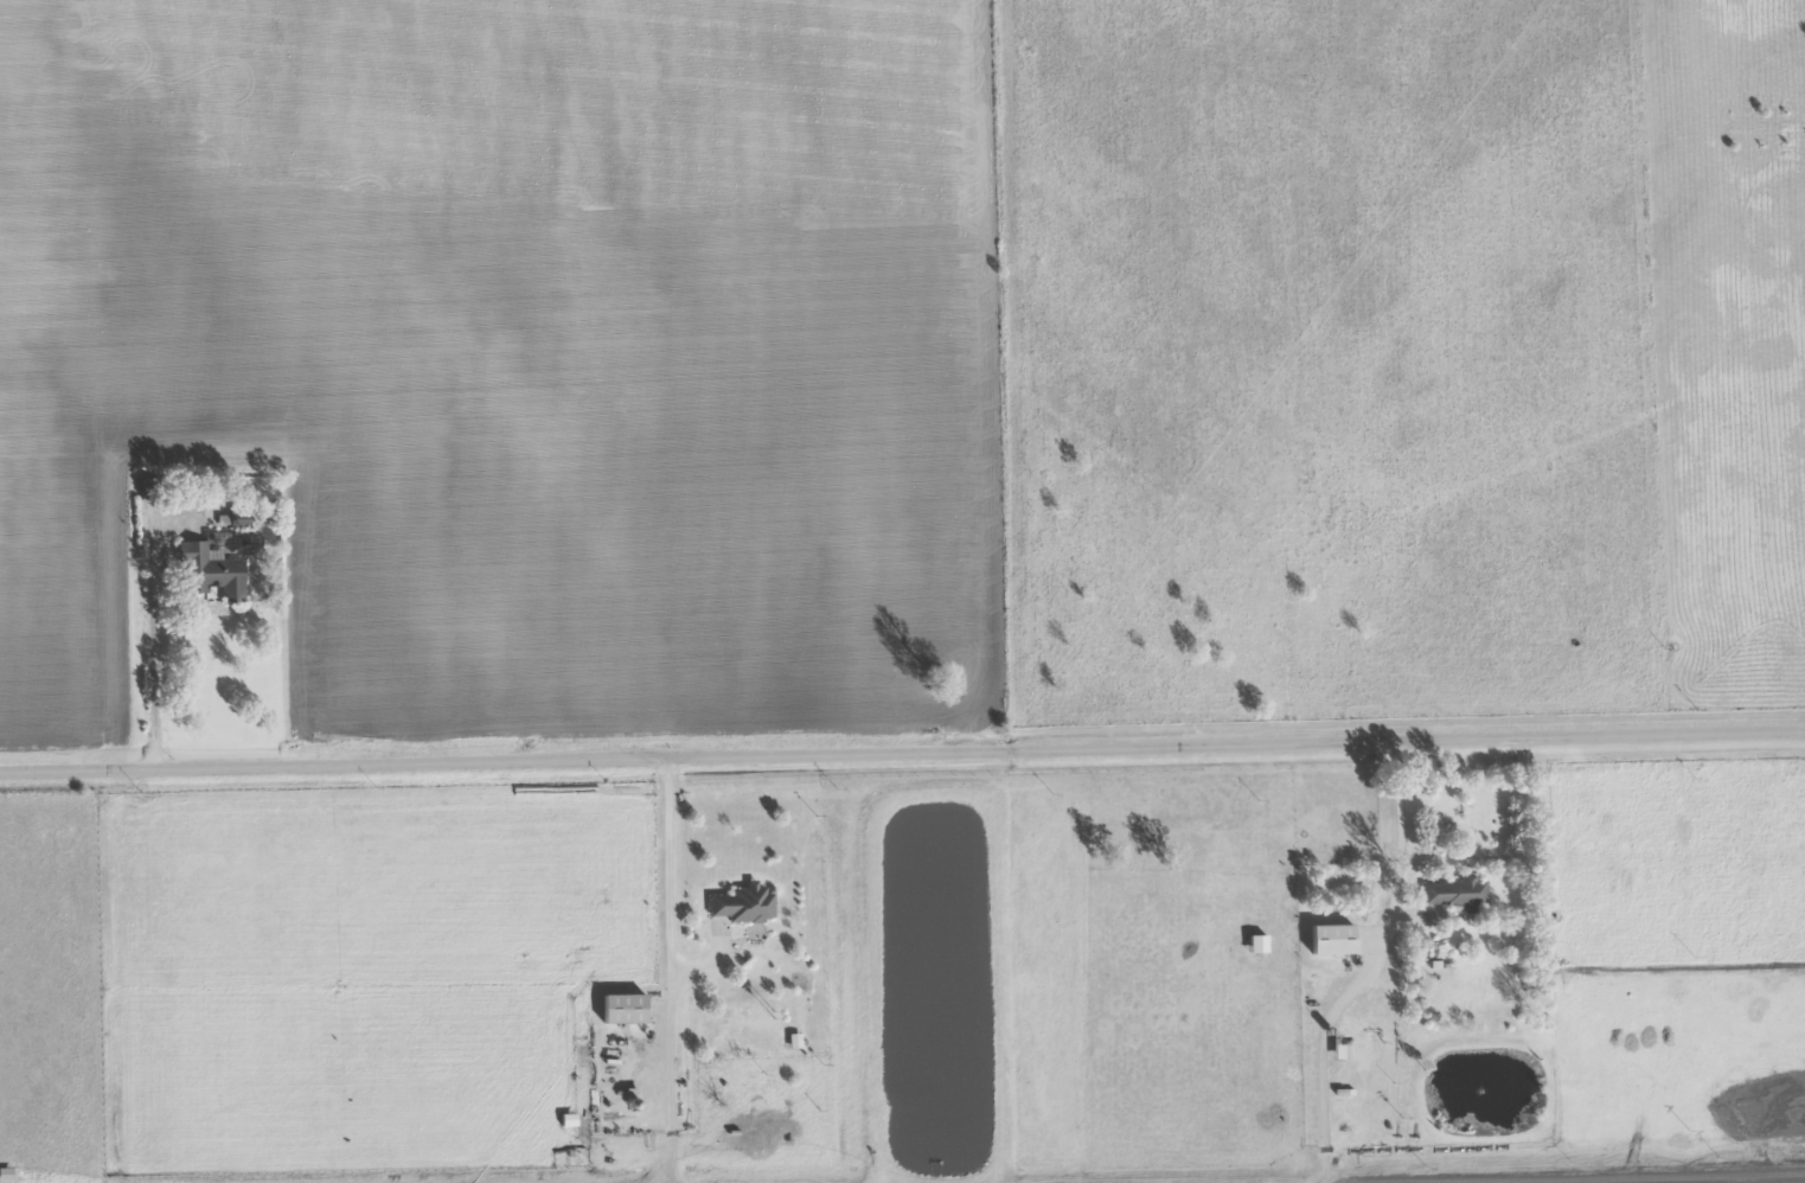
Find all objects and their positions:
building: (212, 573)
road: (148, 626)
road: (902, 750)
road: (1398, 846)
road: (1516, 855)
road: (664, 871)
building: (1459, 895)
building: (745, 906)
building: (1334, 940)
building: (1260, 945)
building: (626, 1010)
building: (796, 1042)
building: (6, 1176)

